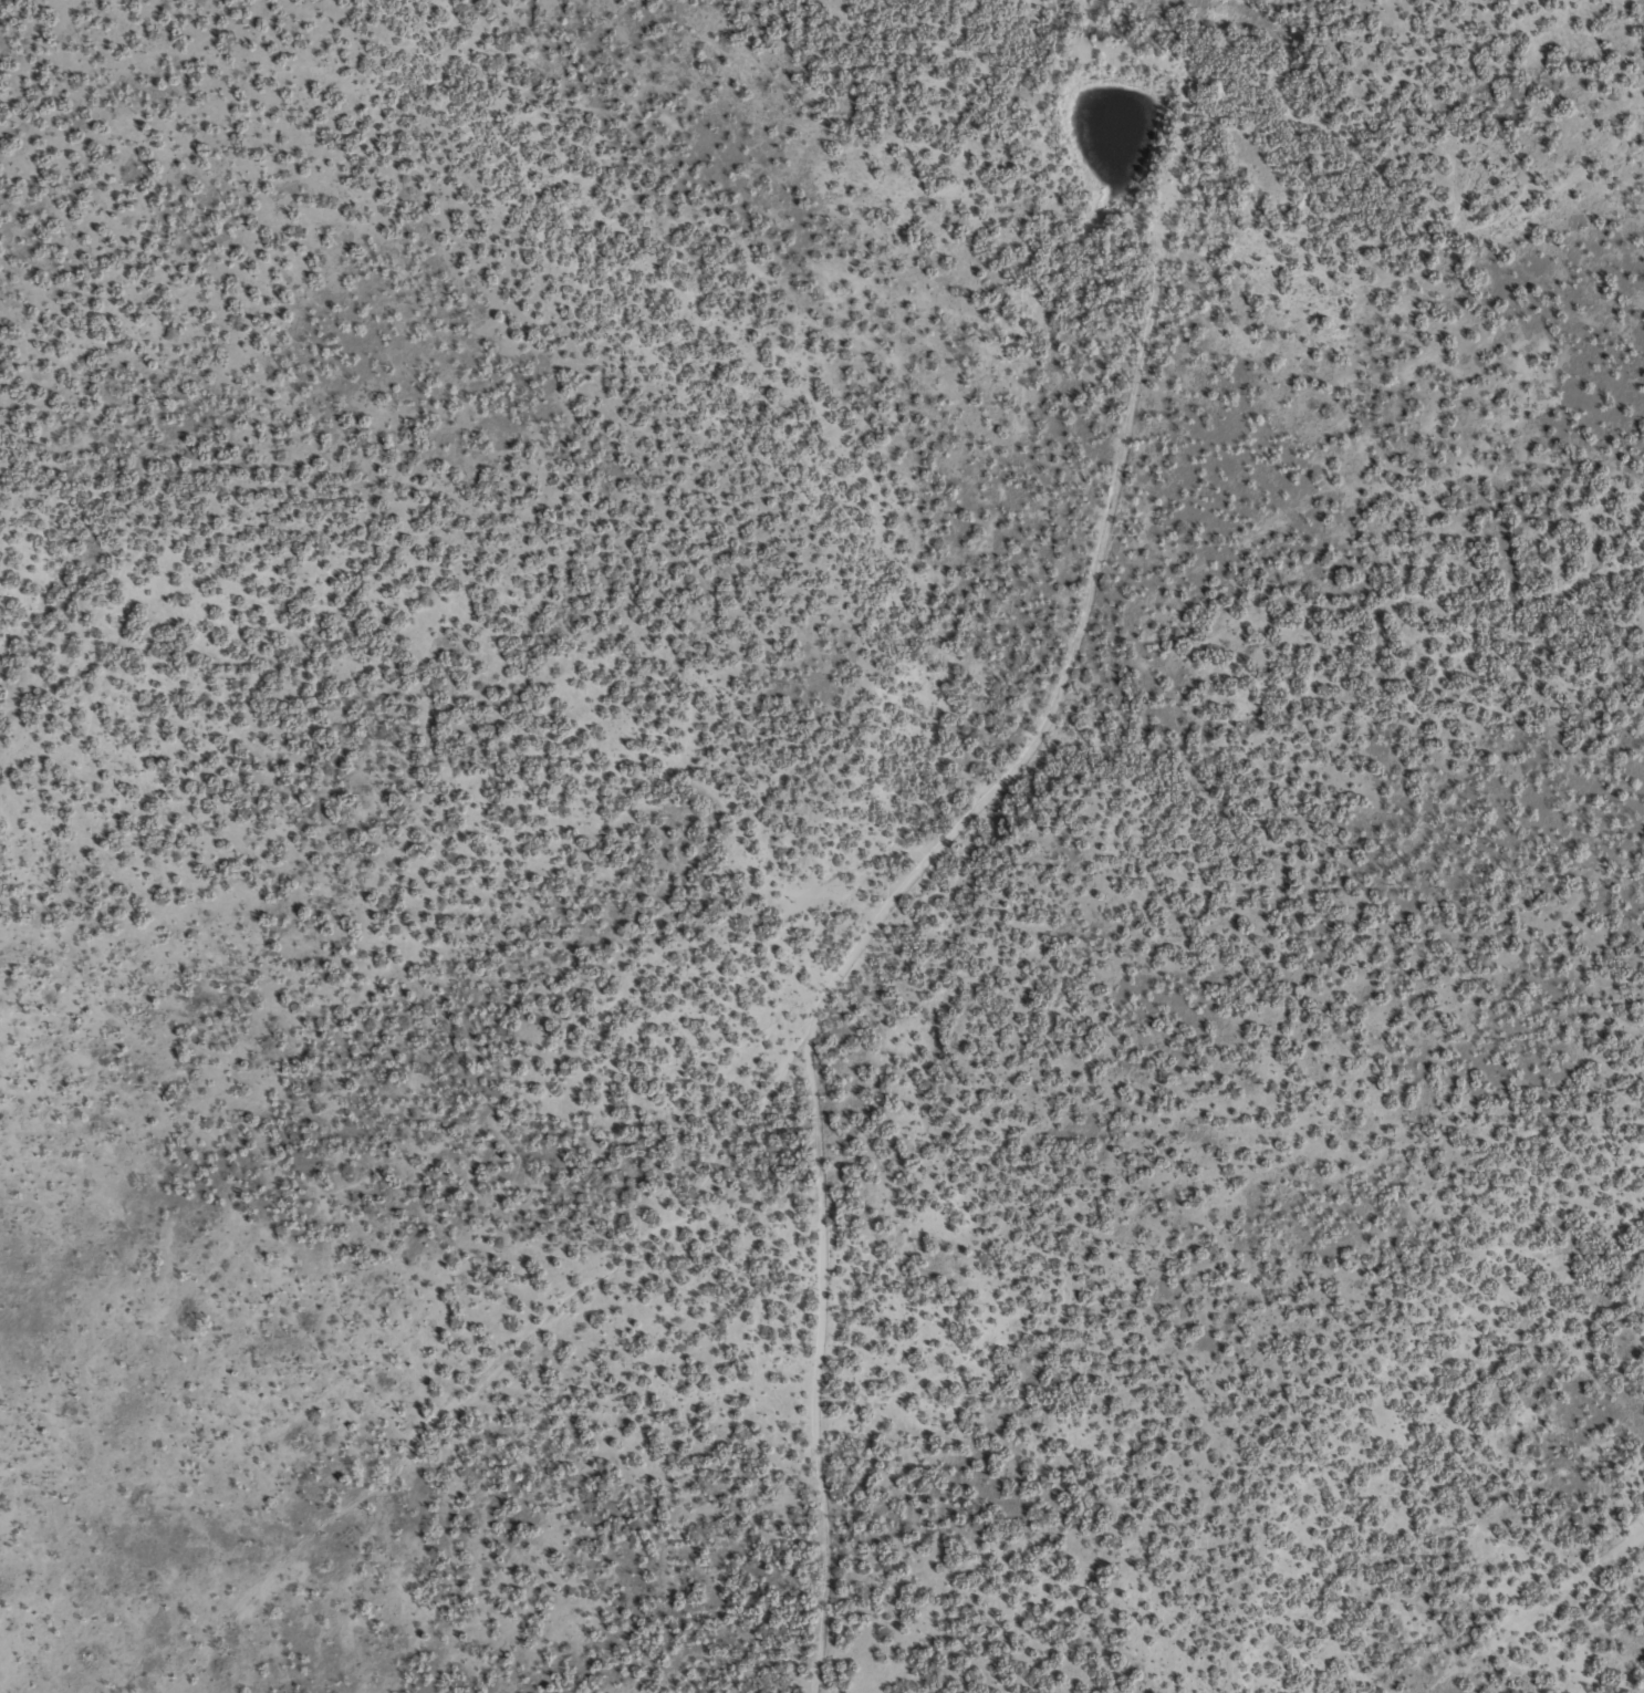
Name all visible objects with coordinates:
road: (895, 923)

